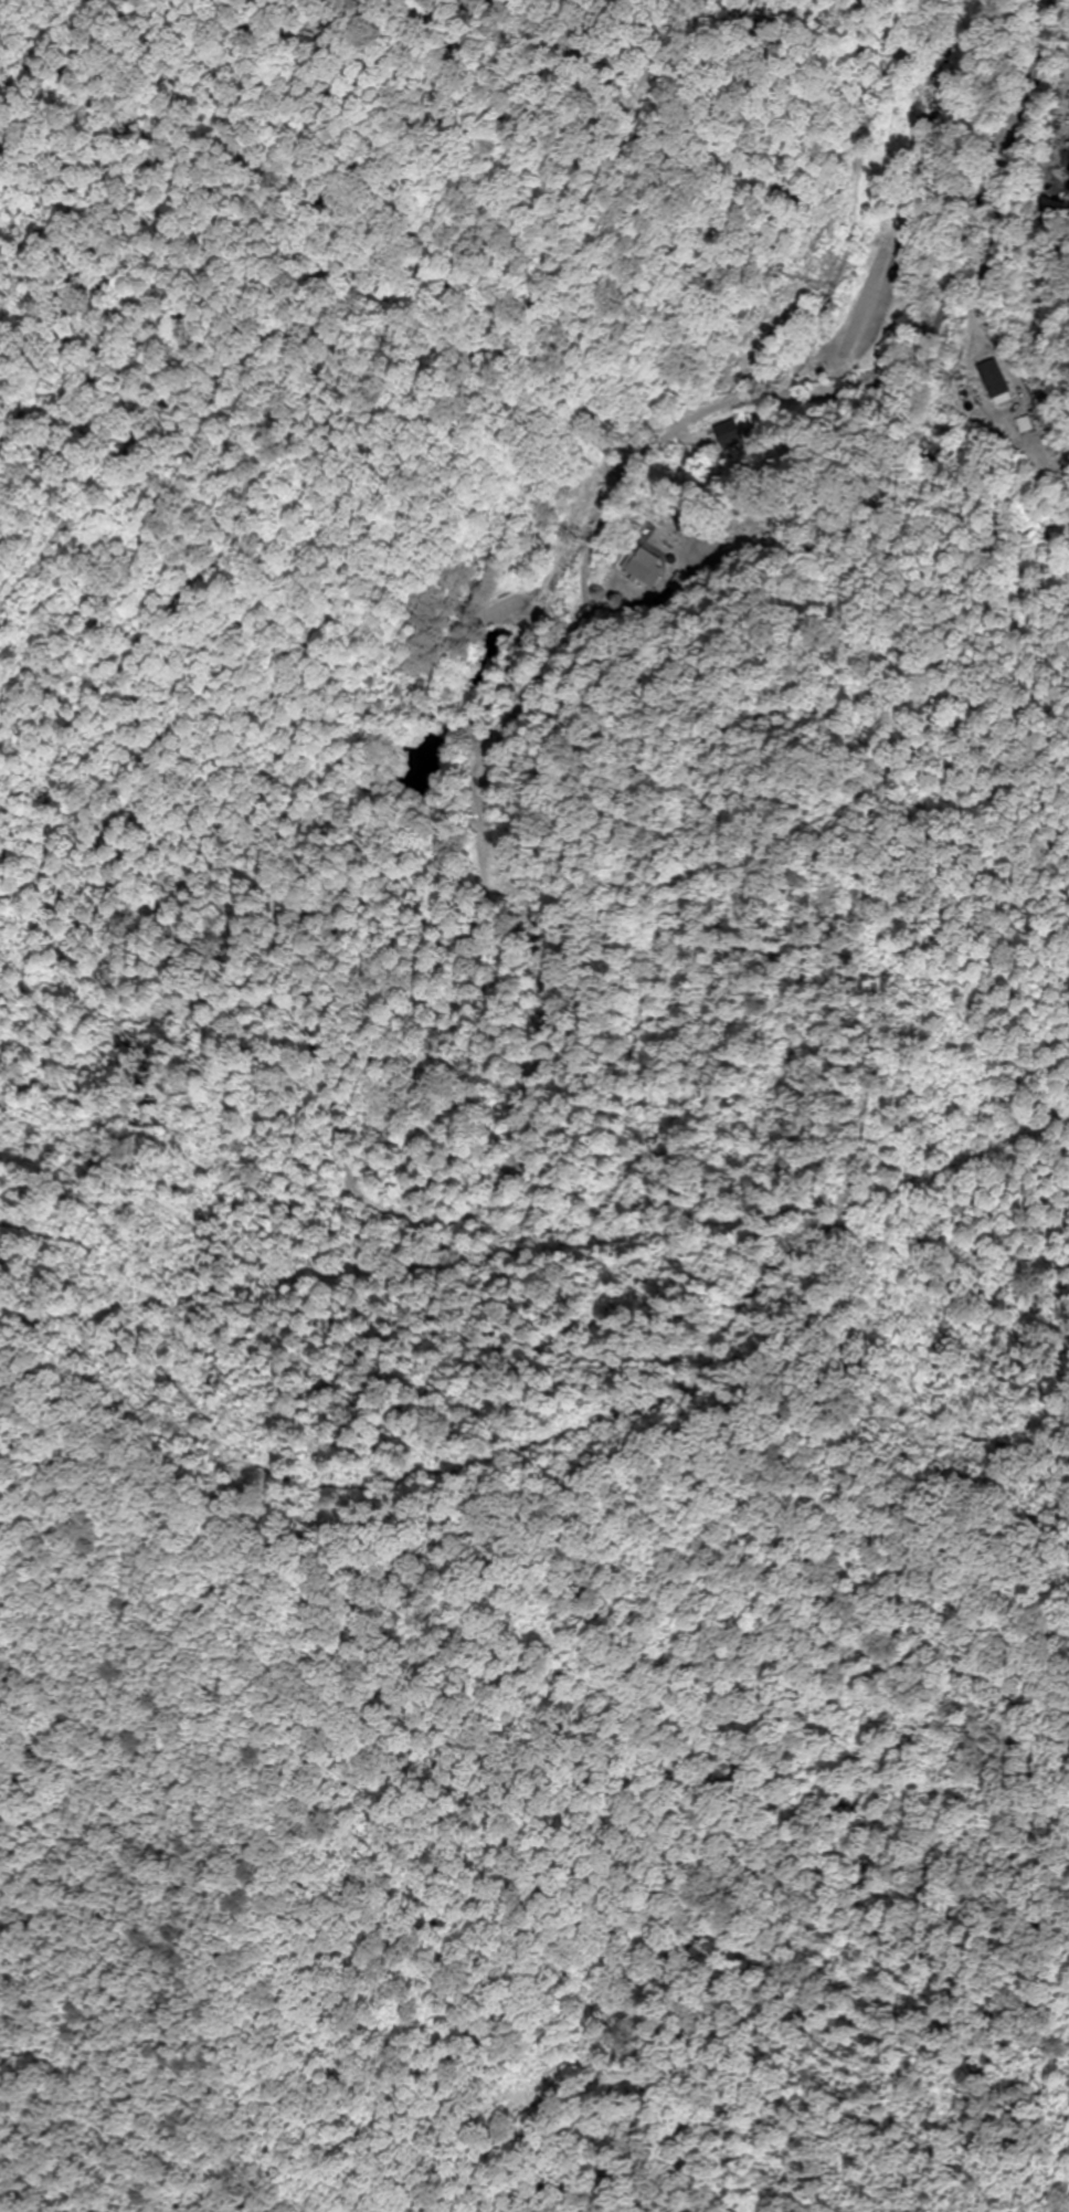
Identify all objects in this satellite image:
road: (950, 304)
building: (994, 382)
building: (645, 566)

